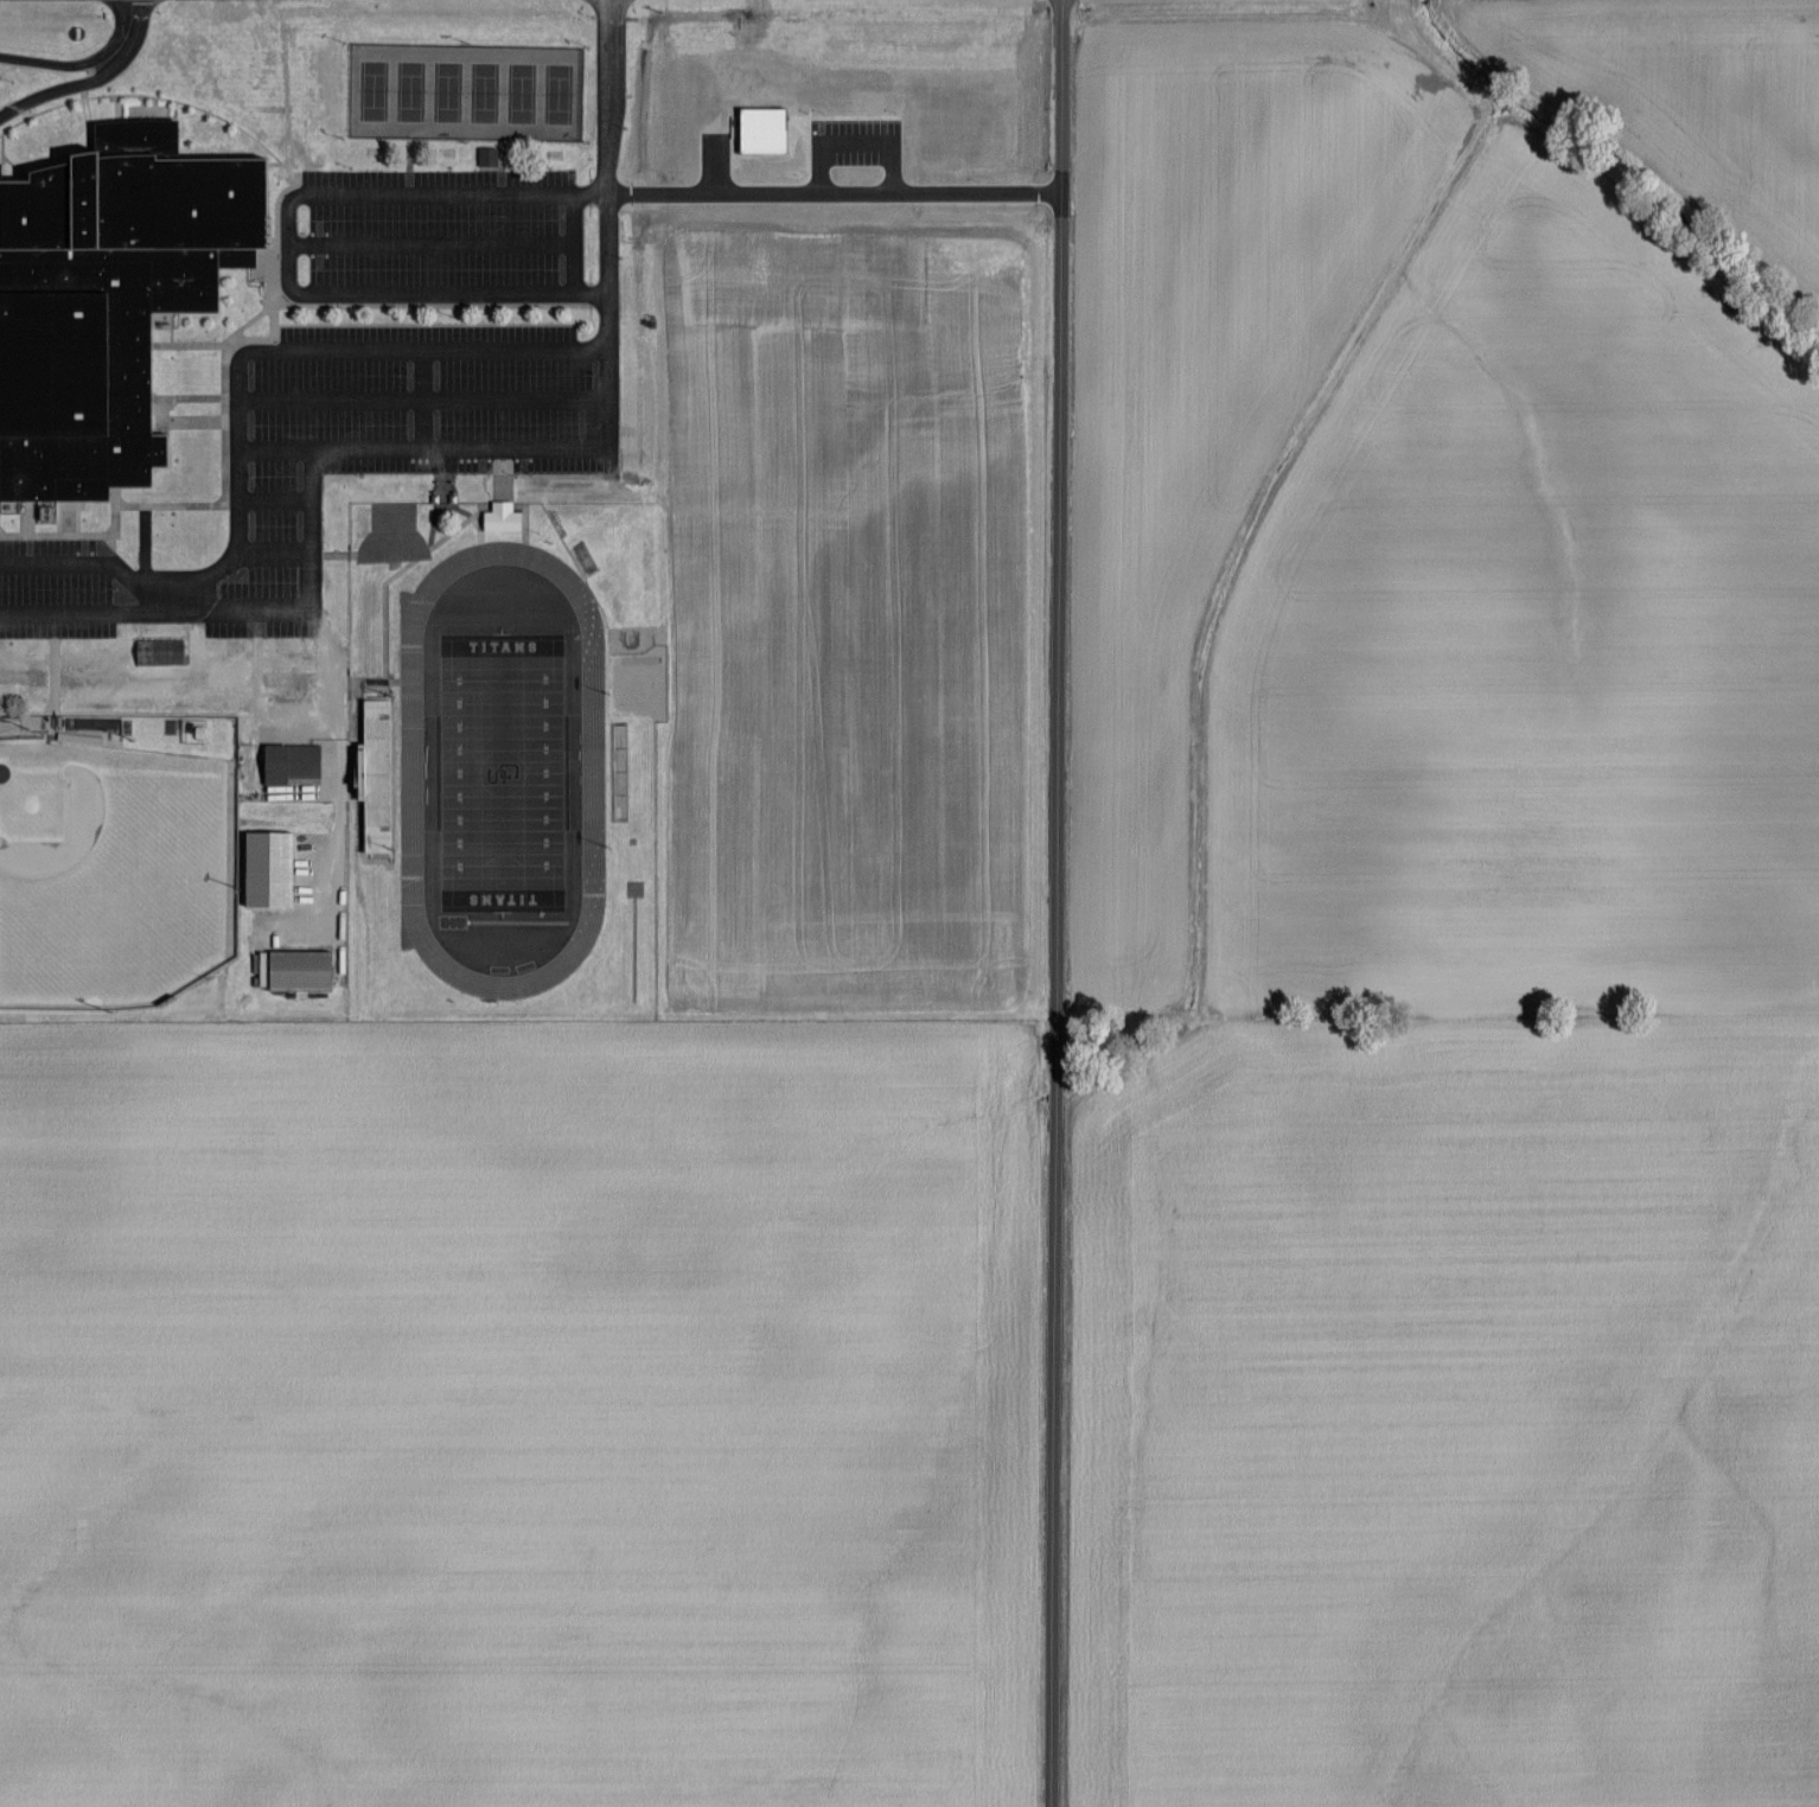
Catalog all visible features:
road: (83, 63)
road: (92, 82)
building: (104, 302)
road: (372, 350)
building: (500, 522)
building: (159, 653)
building: (289, 765)
track: (411, 771)
building: (620, 773)
park: (503, 774)
building: (266, 870)
road: (1053, 902)
building: (298, 972)

